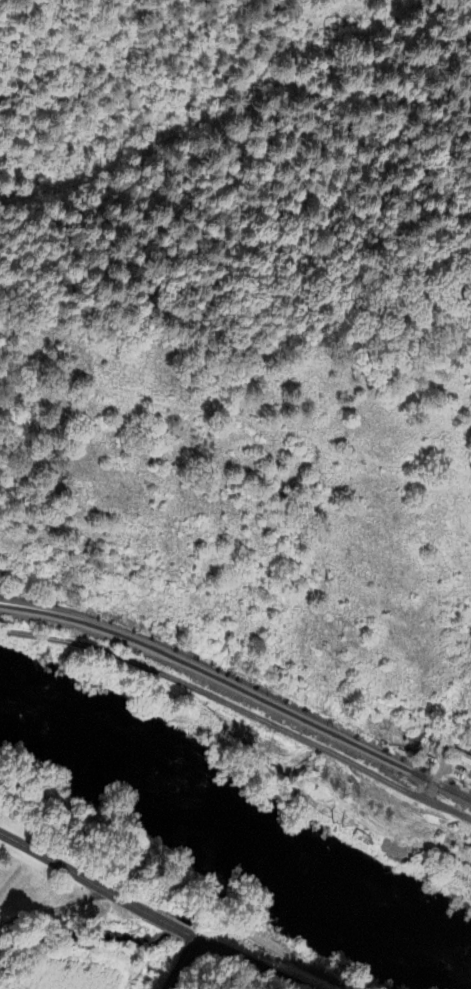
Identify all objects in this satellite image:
railway: (239, 691)
road: (240, 714)
building: (420, 743)
building: (462, 759)
road: (433, 785)
river: (232, 840)
road: (148, 915)
road: (182, 964)

